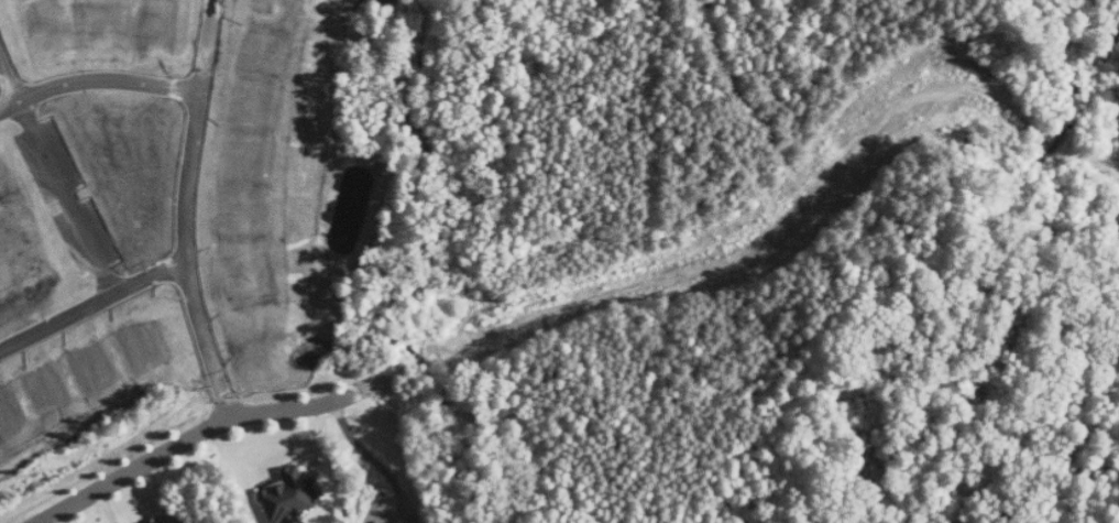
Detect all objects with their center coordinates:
road: (10, 74)
road: (98, 79)
road: (69, 196)
road: (187, 211)
road: (92, 305)
road: (191, 438)
building: (290, 495)

